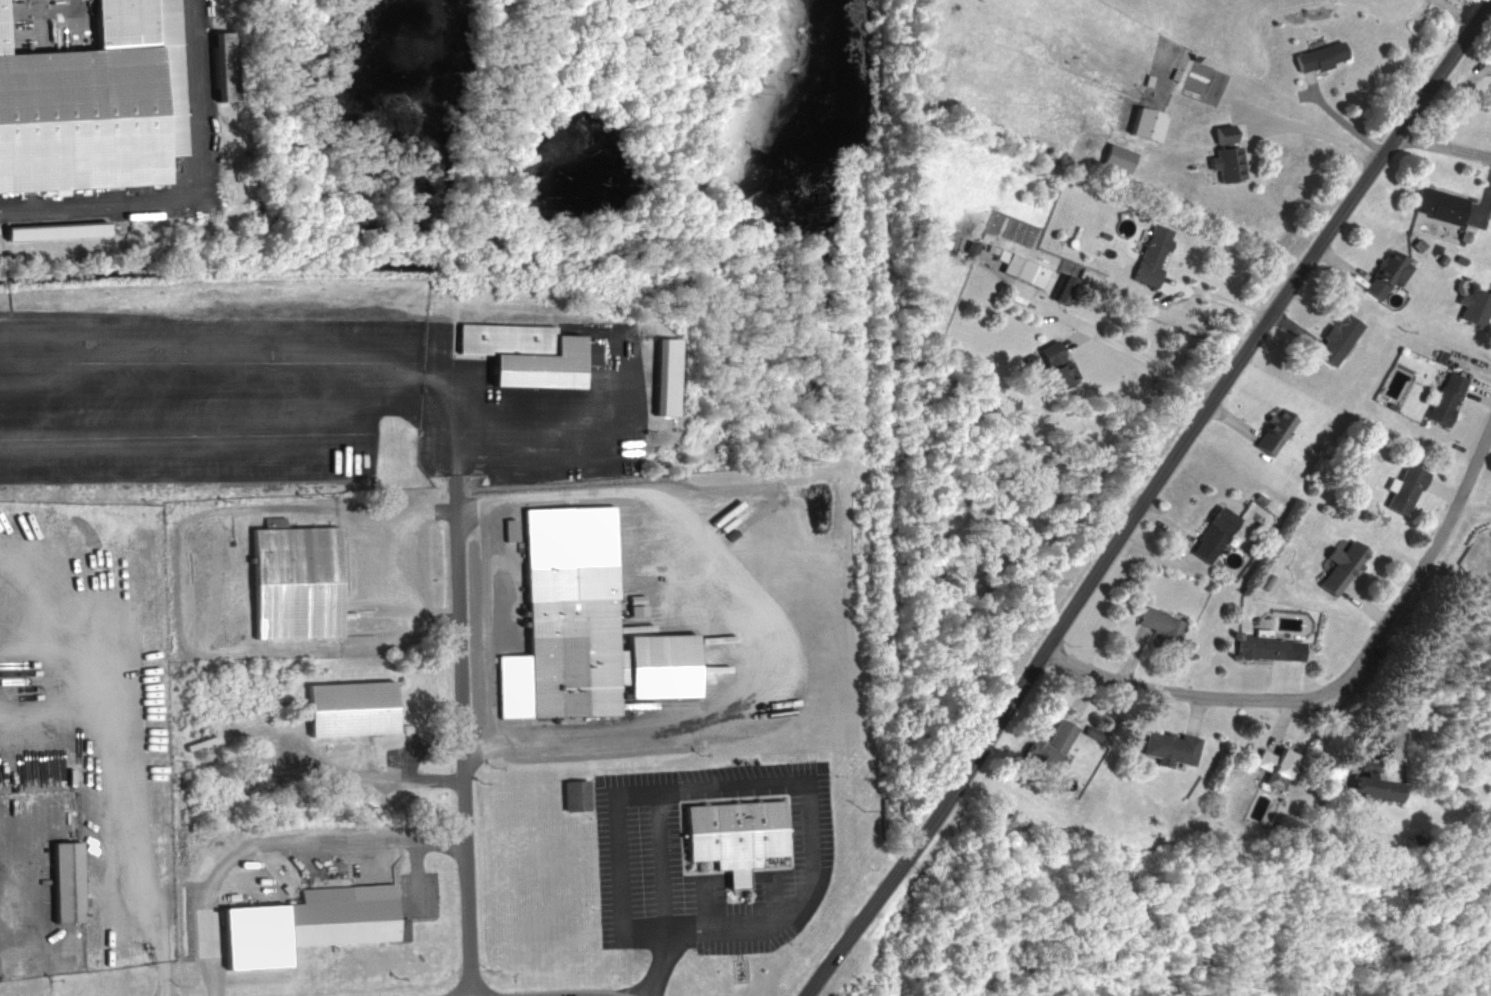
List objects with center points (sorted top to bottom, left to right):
building: (1317, 56)
building: (217, 66)
building: (1489, 96)
building: (94, 103)
road: (1338, 114)
road: (1306, 132)
building: (1218, 134)
road: (1442, 144)
building: (1115, 158)
building: (1224, 163)
road: (186, 186)
building: (1435, 205)
building: (51, 230)
building: (1152, 256)
building: (1022, 272)
building: (1383, 274)
building: (1060, 291)
road: (1216, 293)
building: (1472, 305)
building: (1332, 340)
road: (1138, 350)
building: (523, 352)
building: (1051, 367)
building: (661, 375)
road: (283, 395)
building: (1441, 399)
building: (1268, 432)
building: (1400, 489)
road: (1145, 495)
building: (1208, 535)
road: (371, 562)
building: (1338, 566)
building: (296, 581)
road: (1411, 585)
building: (576, 620)
building: (1155, 624)
road: (776, 628)
building: (1257, 647)
road: (1423, 672)
road: (1165, 690)
building: (351, 707)
building: (1044, 746)
building: (1166, 746)
road: (466, 751)
building: (1268, 767)
road: (402, 777)
road: (743, 780)
building: (1366, 782)
building: (572, 792)
building: (735, 828)
road: (277, 844)
parking lot: (710, 853)
road: (5, 856)
road: (665, 863)
road: (10, 864)
building: (67, 881)
building: (303, 924)
road: (660, 967)
road: (581, 993)

